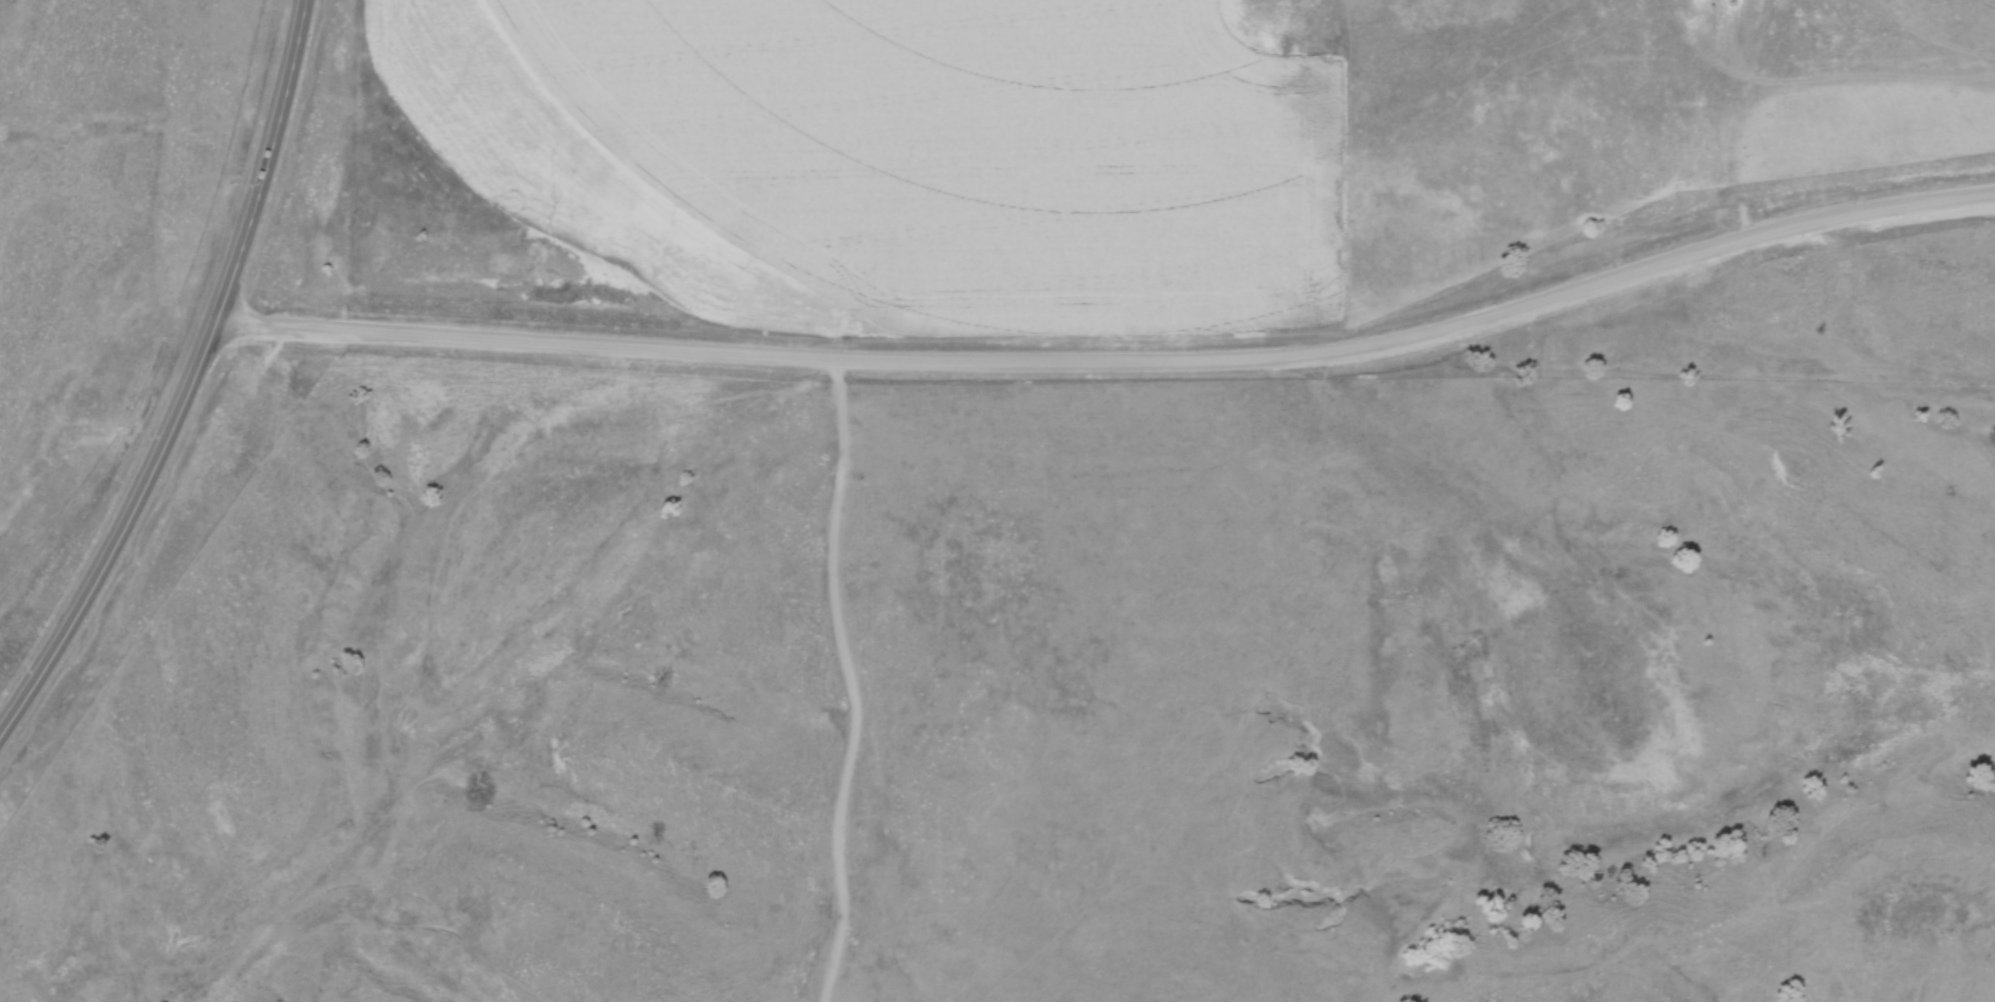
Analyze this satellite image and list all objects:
road: (1118, 359)
road: (196, 395)

